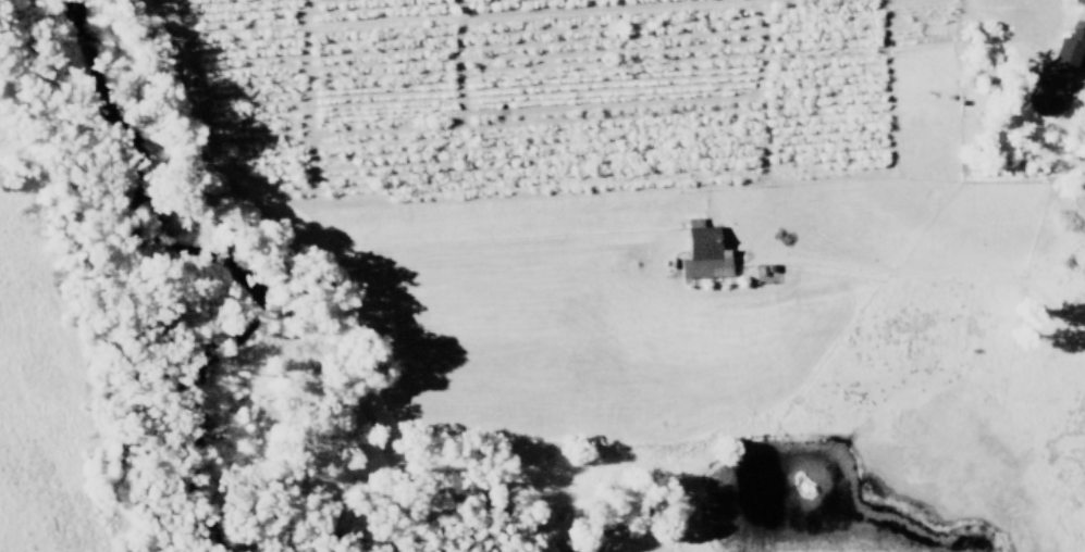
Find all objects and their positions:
building: (1070, 48)
building: (705, 252)

